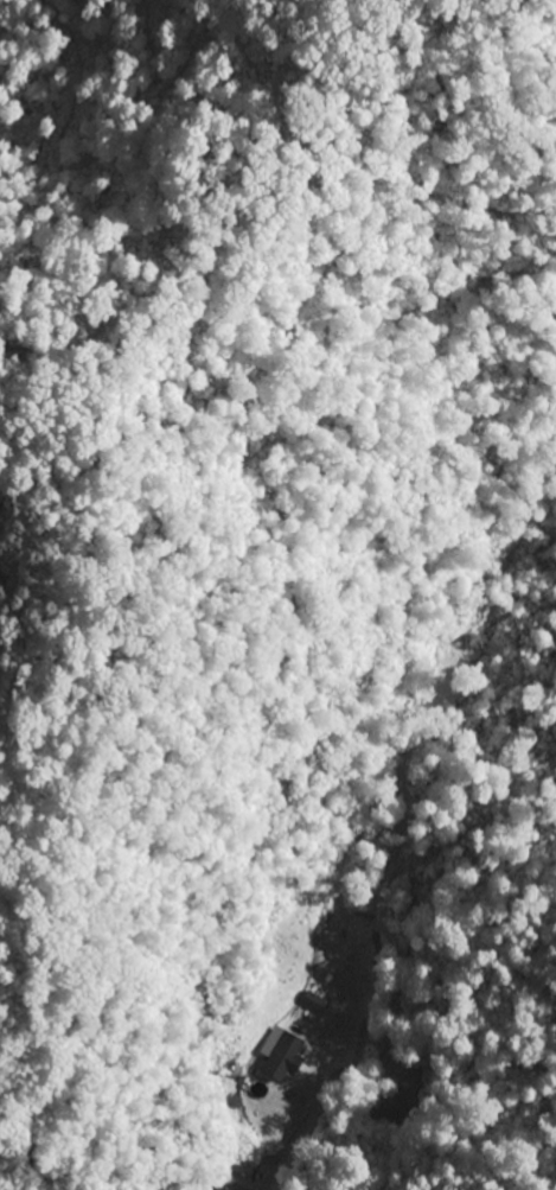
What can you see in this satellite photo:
building: (280, 1056)
building: (231, 1186)

